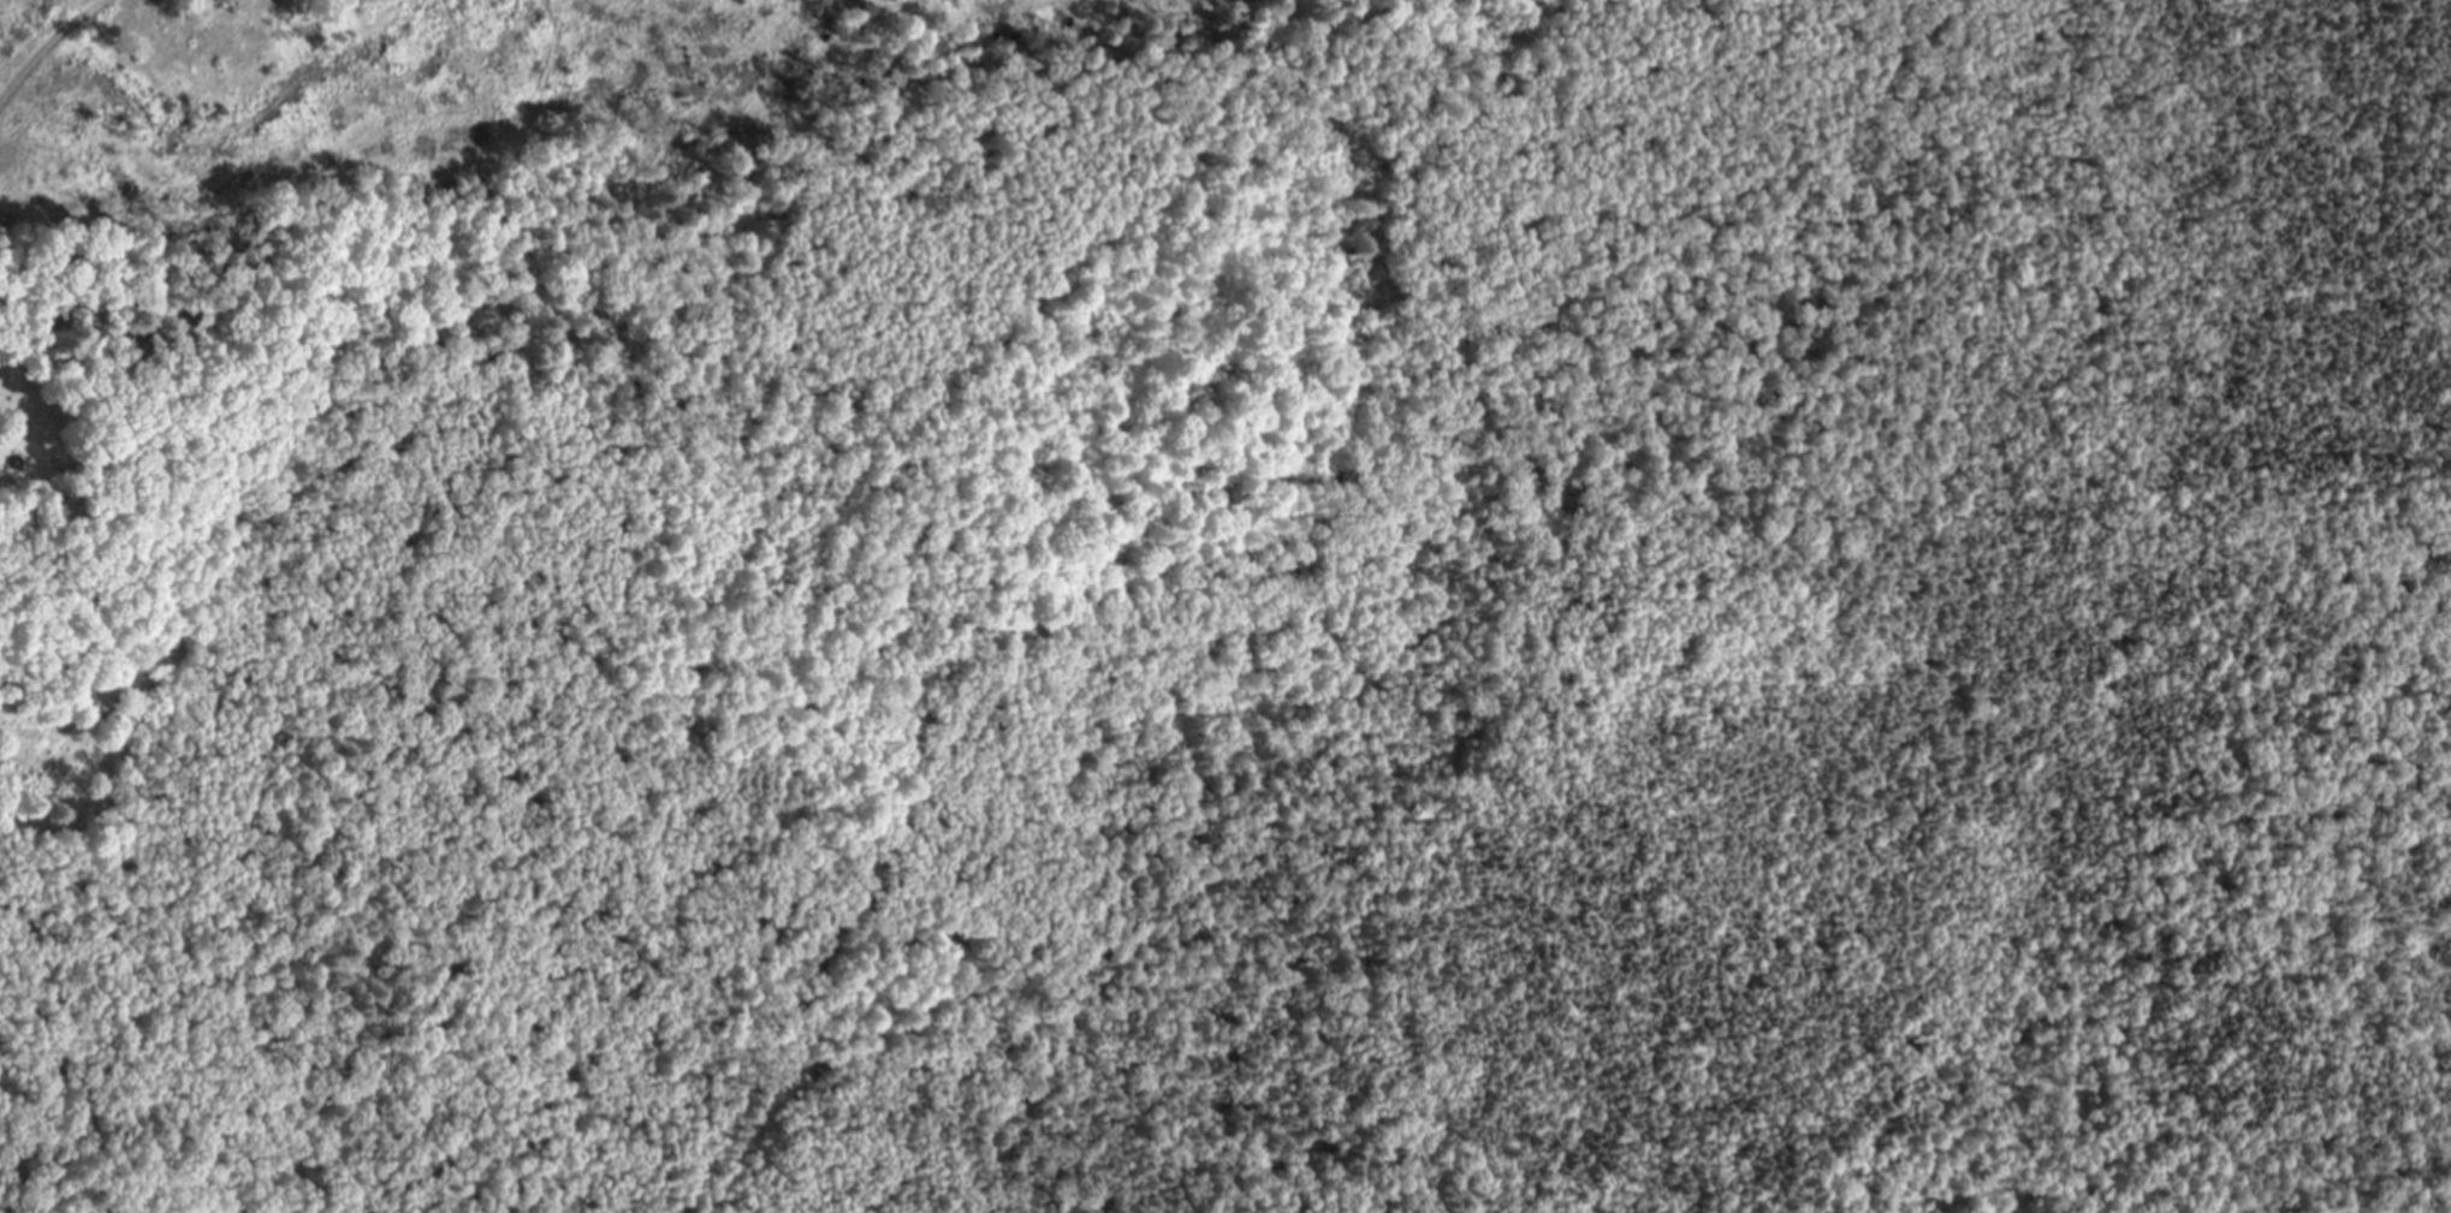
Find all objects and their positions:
building: (221, 5)

